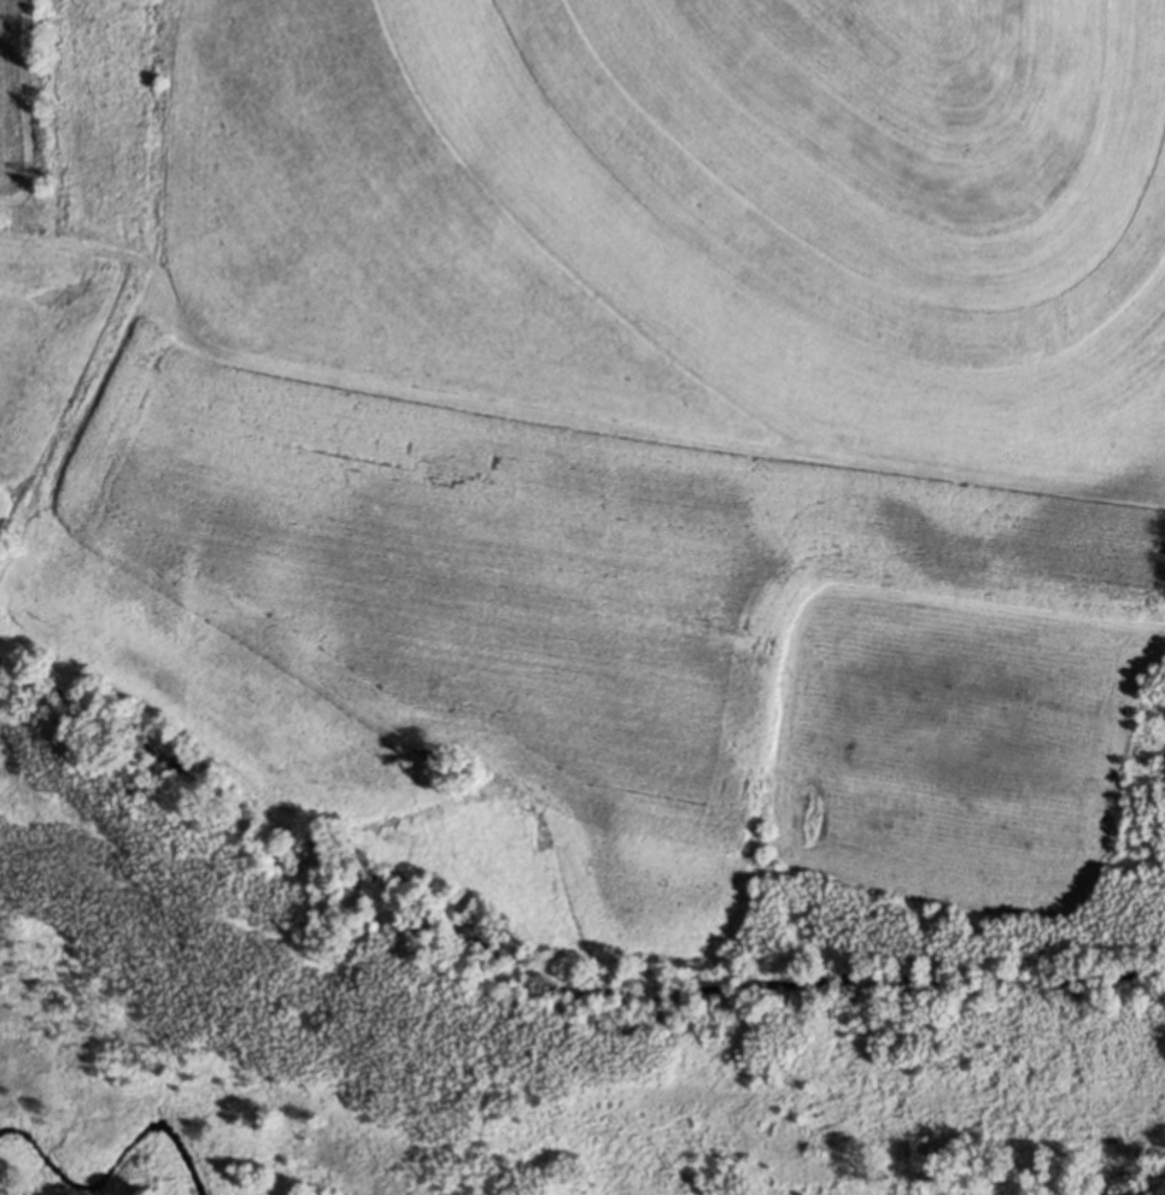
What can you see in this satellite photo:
river: (163, 1143)
river: (51, 1158)

